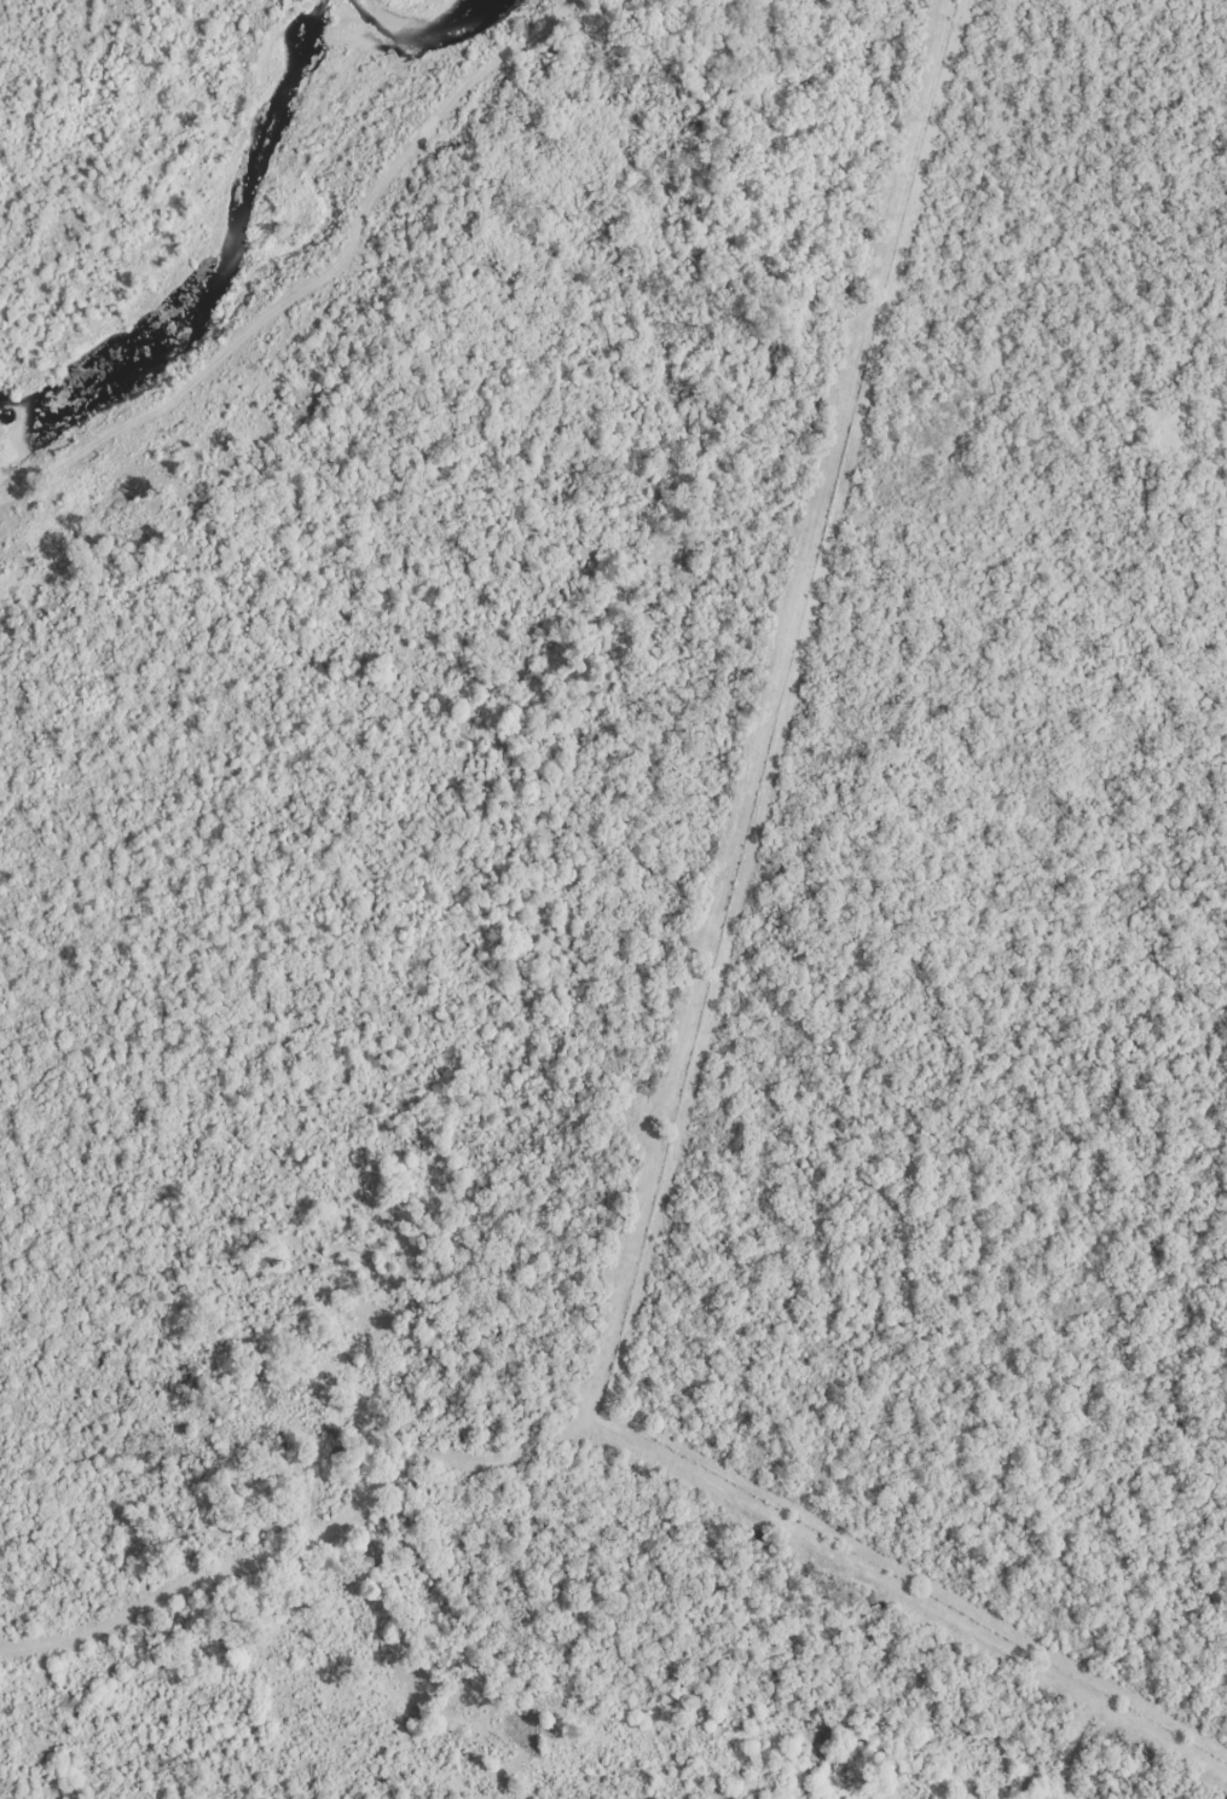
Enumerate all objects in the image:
river: (422, 36)
river: (239, 249)

